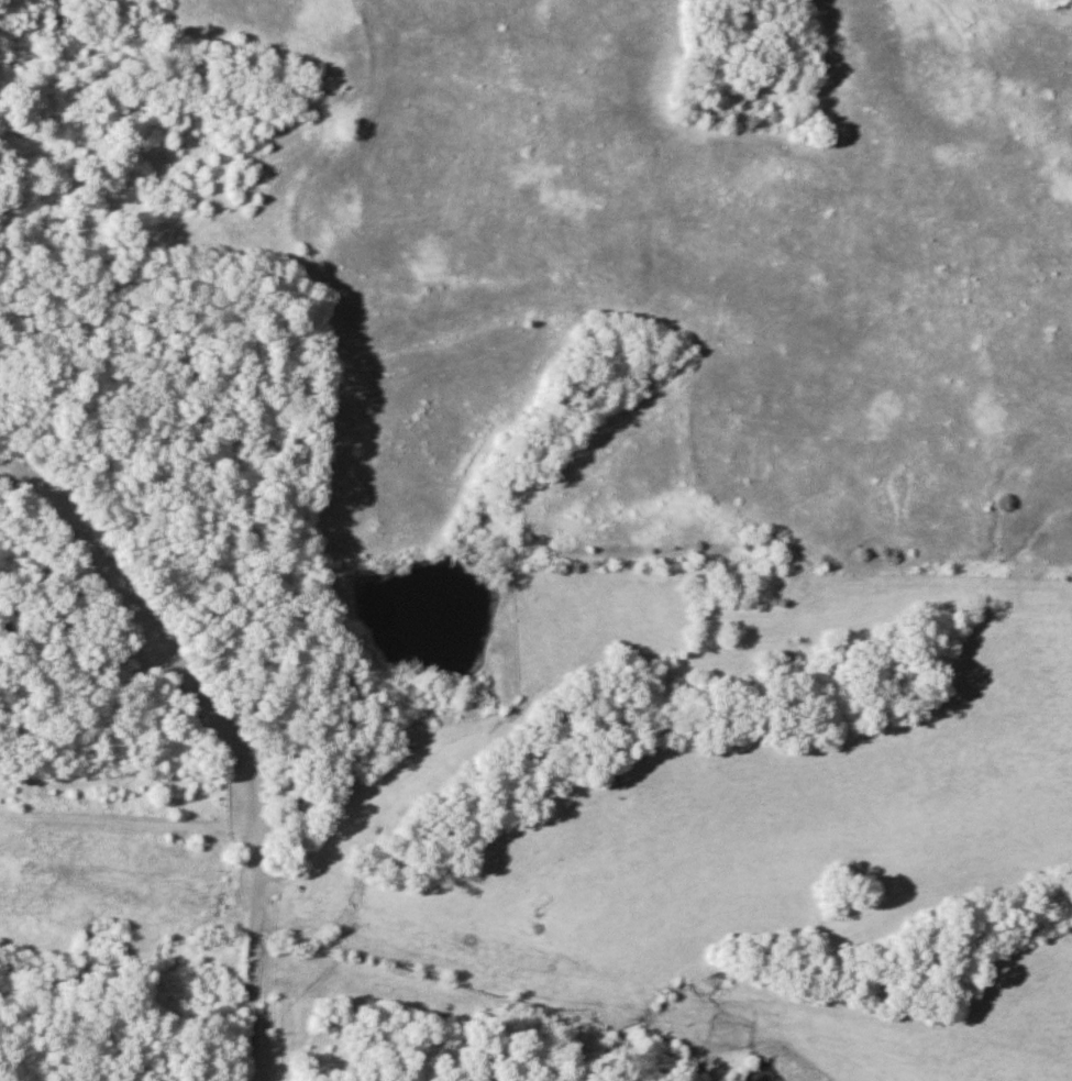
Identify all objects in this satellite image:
road: (258, 770)

